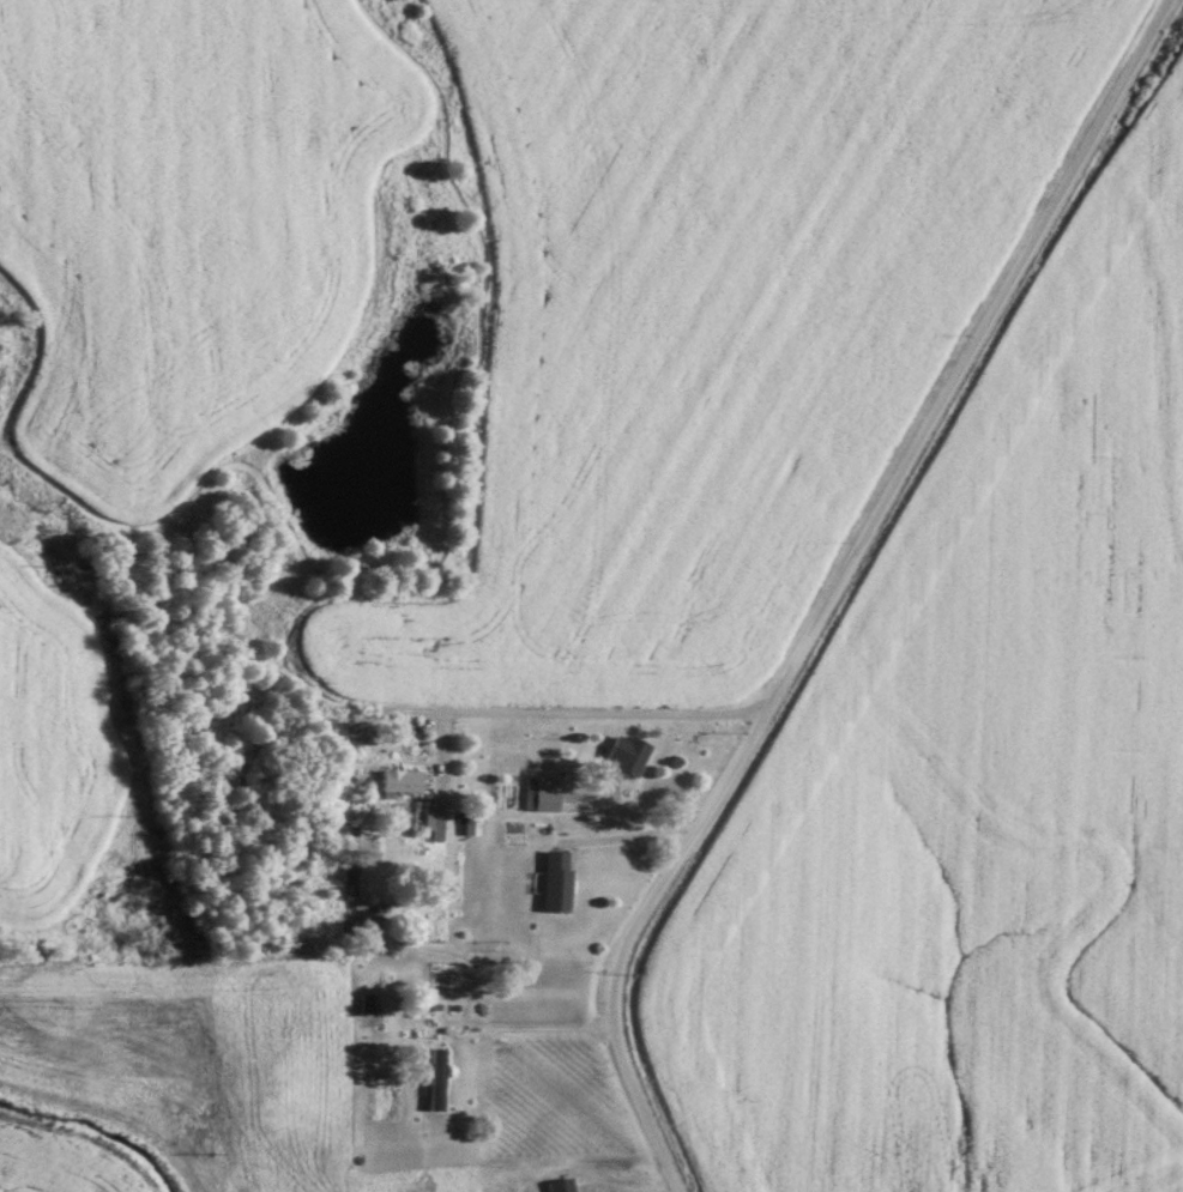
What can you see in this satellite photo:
road: (838, 589)
building: (624, 755)
building: (398, 780)
building: (538, 788)
building: (469, 822)
building: (435, 823)
building: (554, 882)
building: (435, 1078)
building: (561, 1185)

